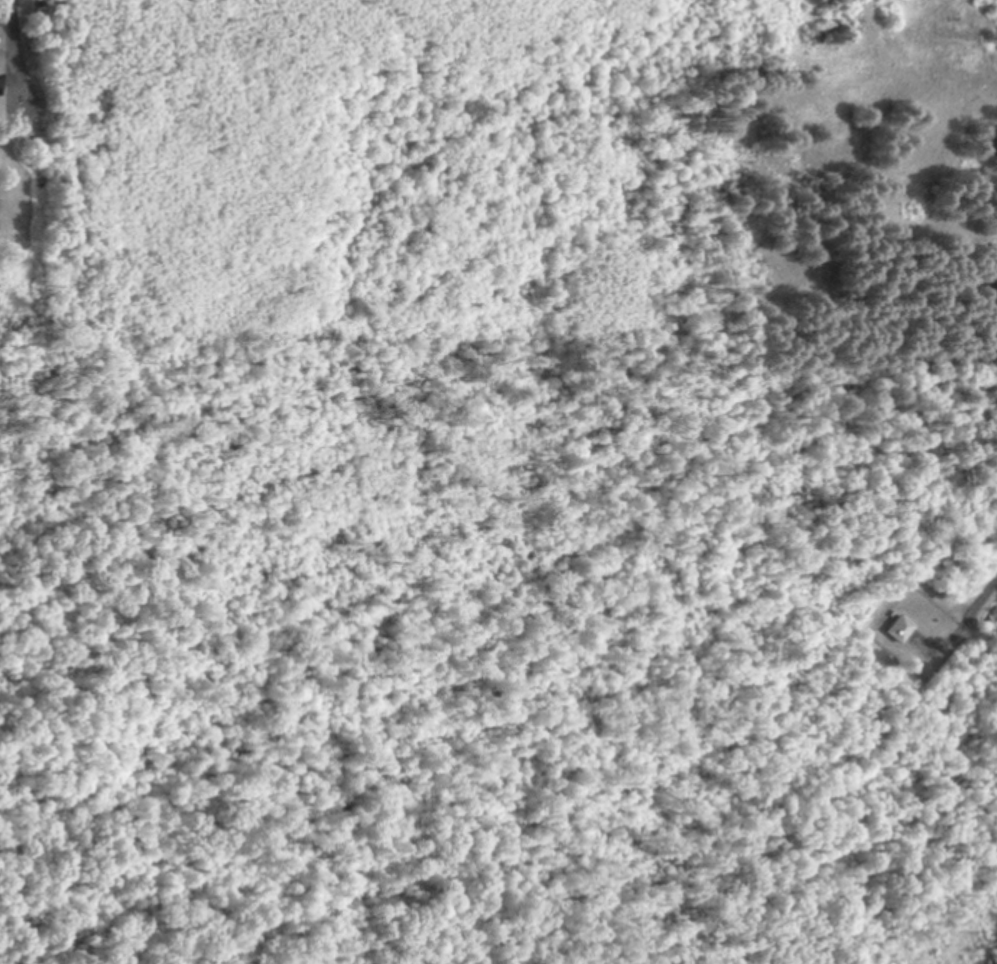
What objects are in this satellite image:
road: (21, 45)

